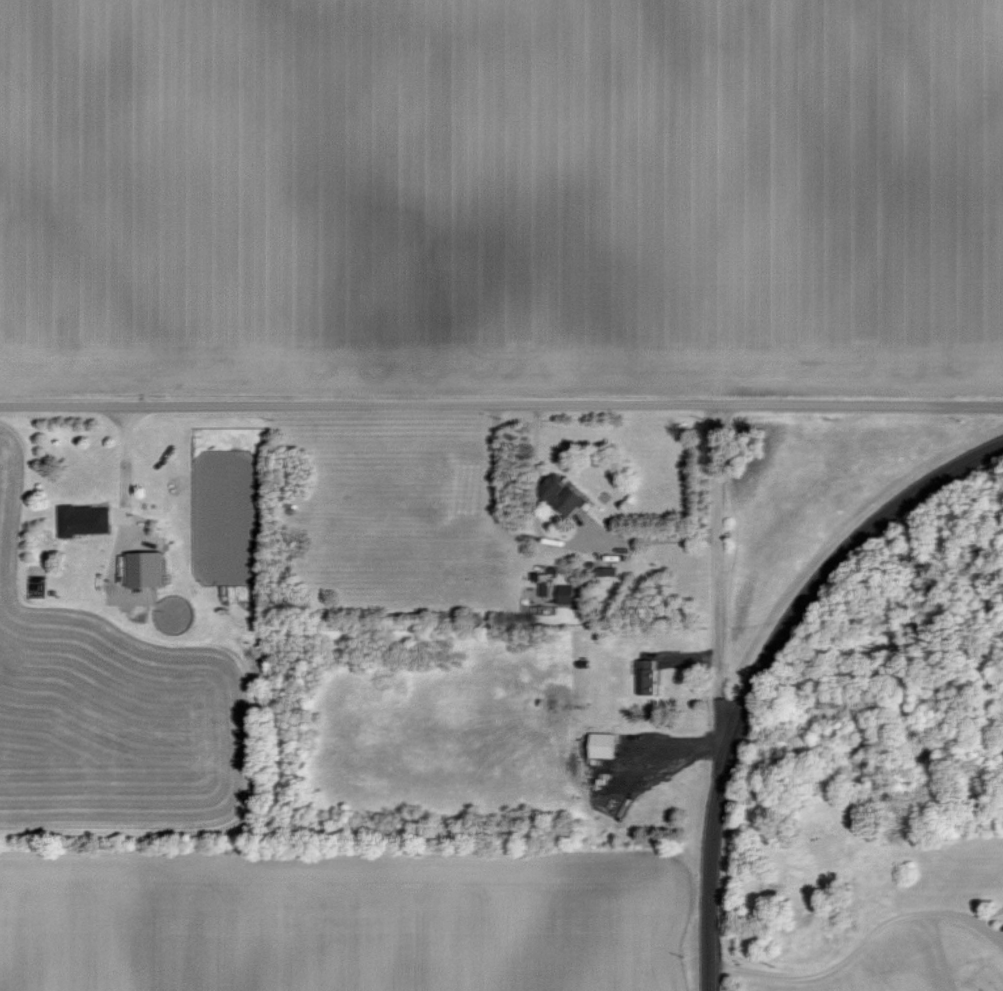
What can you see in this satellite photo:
road: (501, 402)
road: (535, 470)
road: (125, 471)
building: (562, 494)
building: (84, 519)
road: (543, 539)
building: (605, 571)
building: (543, 588)
road: (716, 591)
building: (565, 594)
road: (765, 670)
building: (646, 676)
building: (602, 745)
road: (968, 919)
road: (940, 953)
road: (825, 969)

